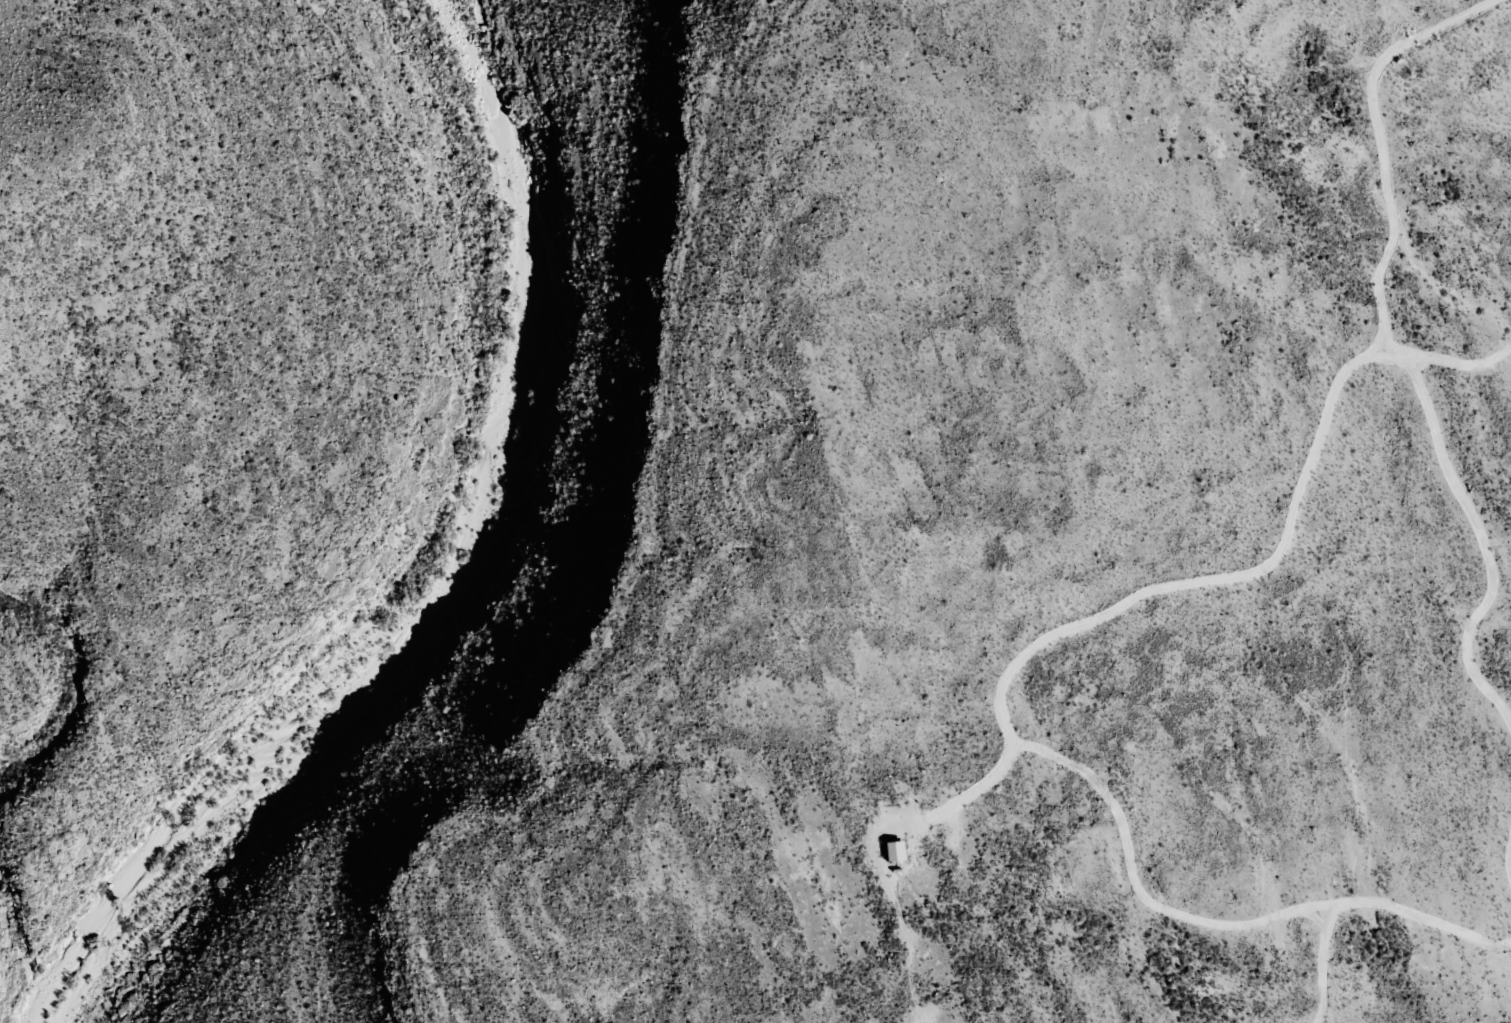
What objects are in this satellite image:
building: (899, 853)

